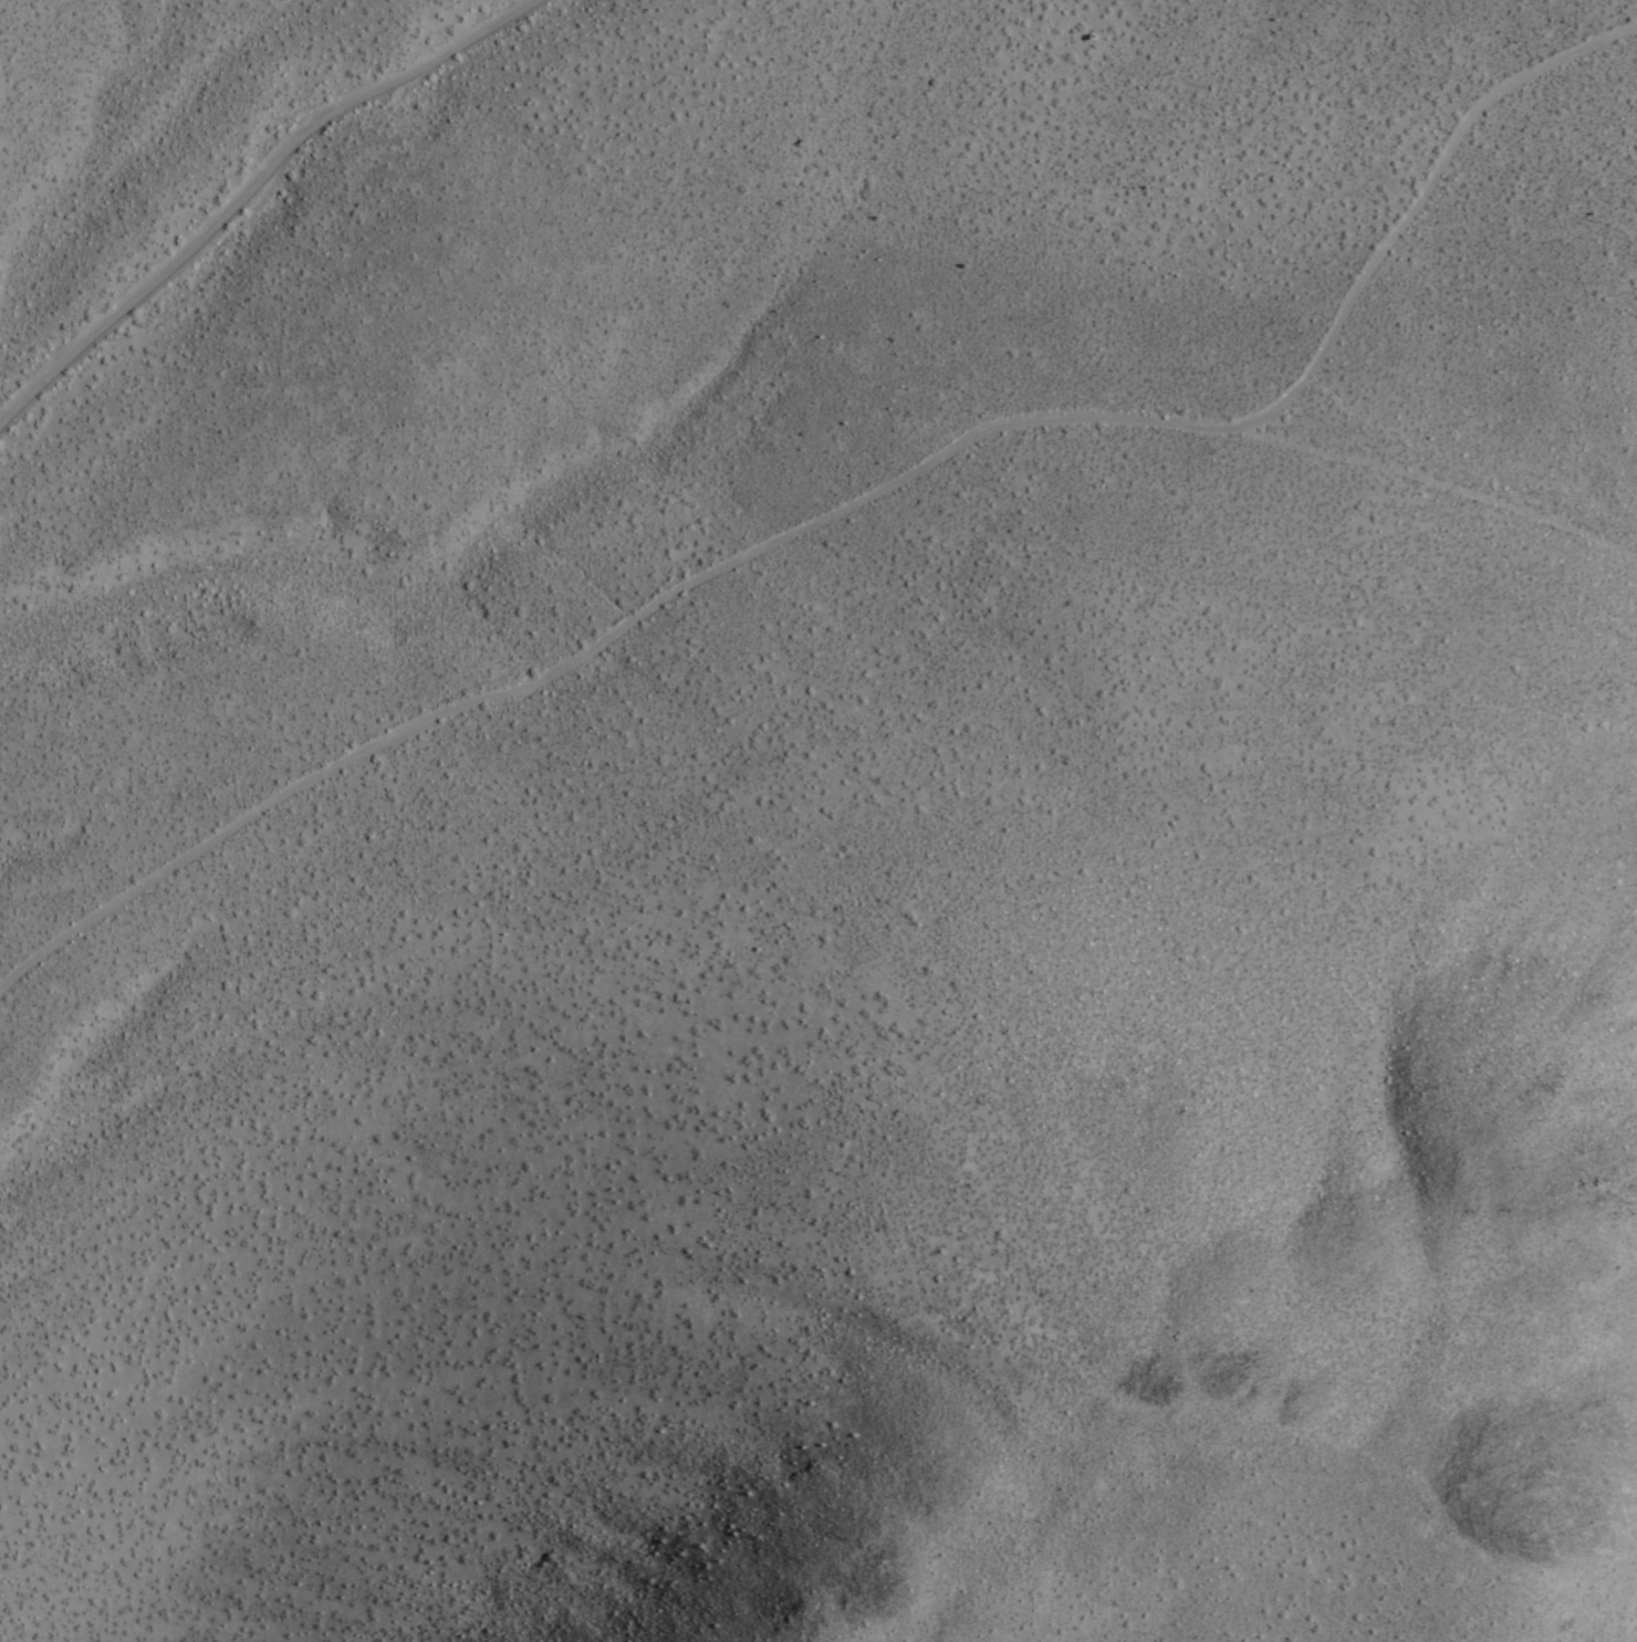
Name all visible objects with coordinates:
road: (1420, 191)
road: (1446, 484)
road: (605, 634)

